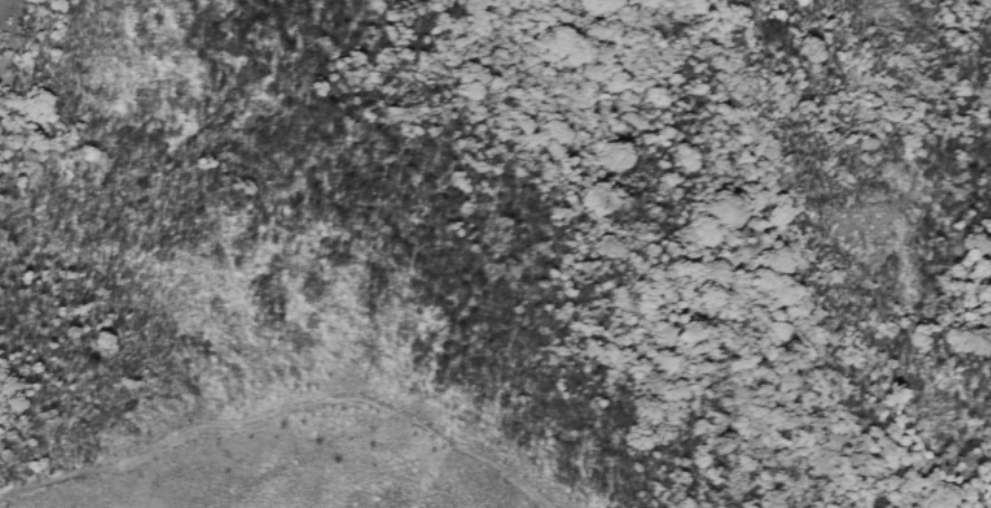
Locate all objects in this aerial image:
road: (267, 429)

